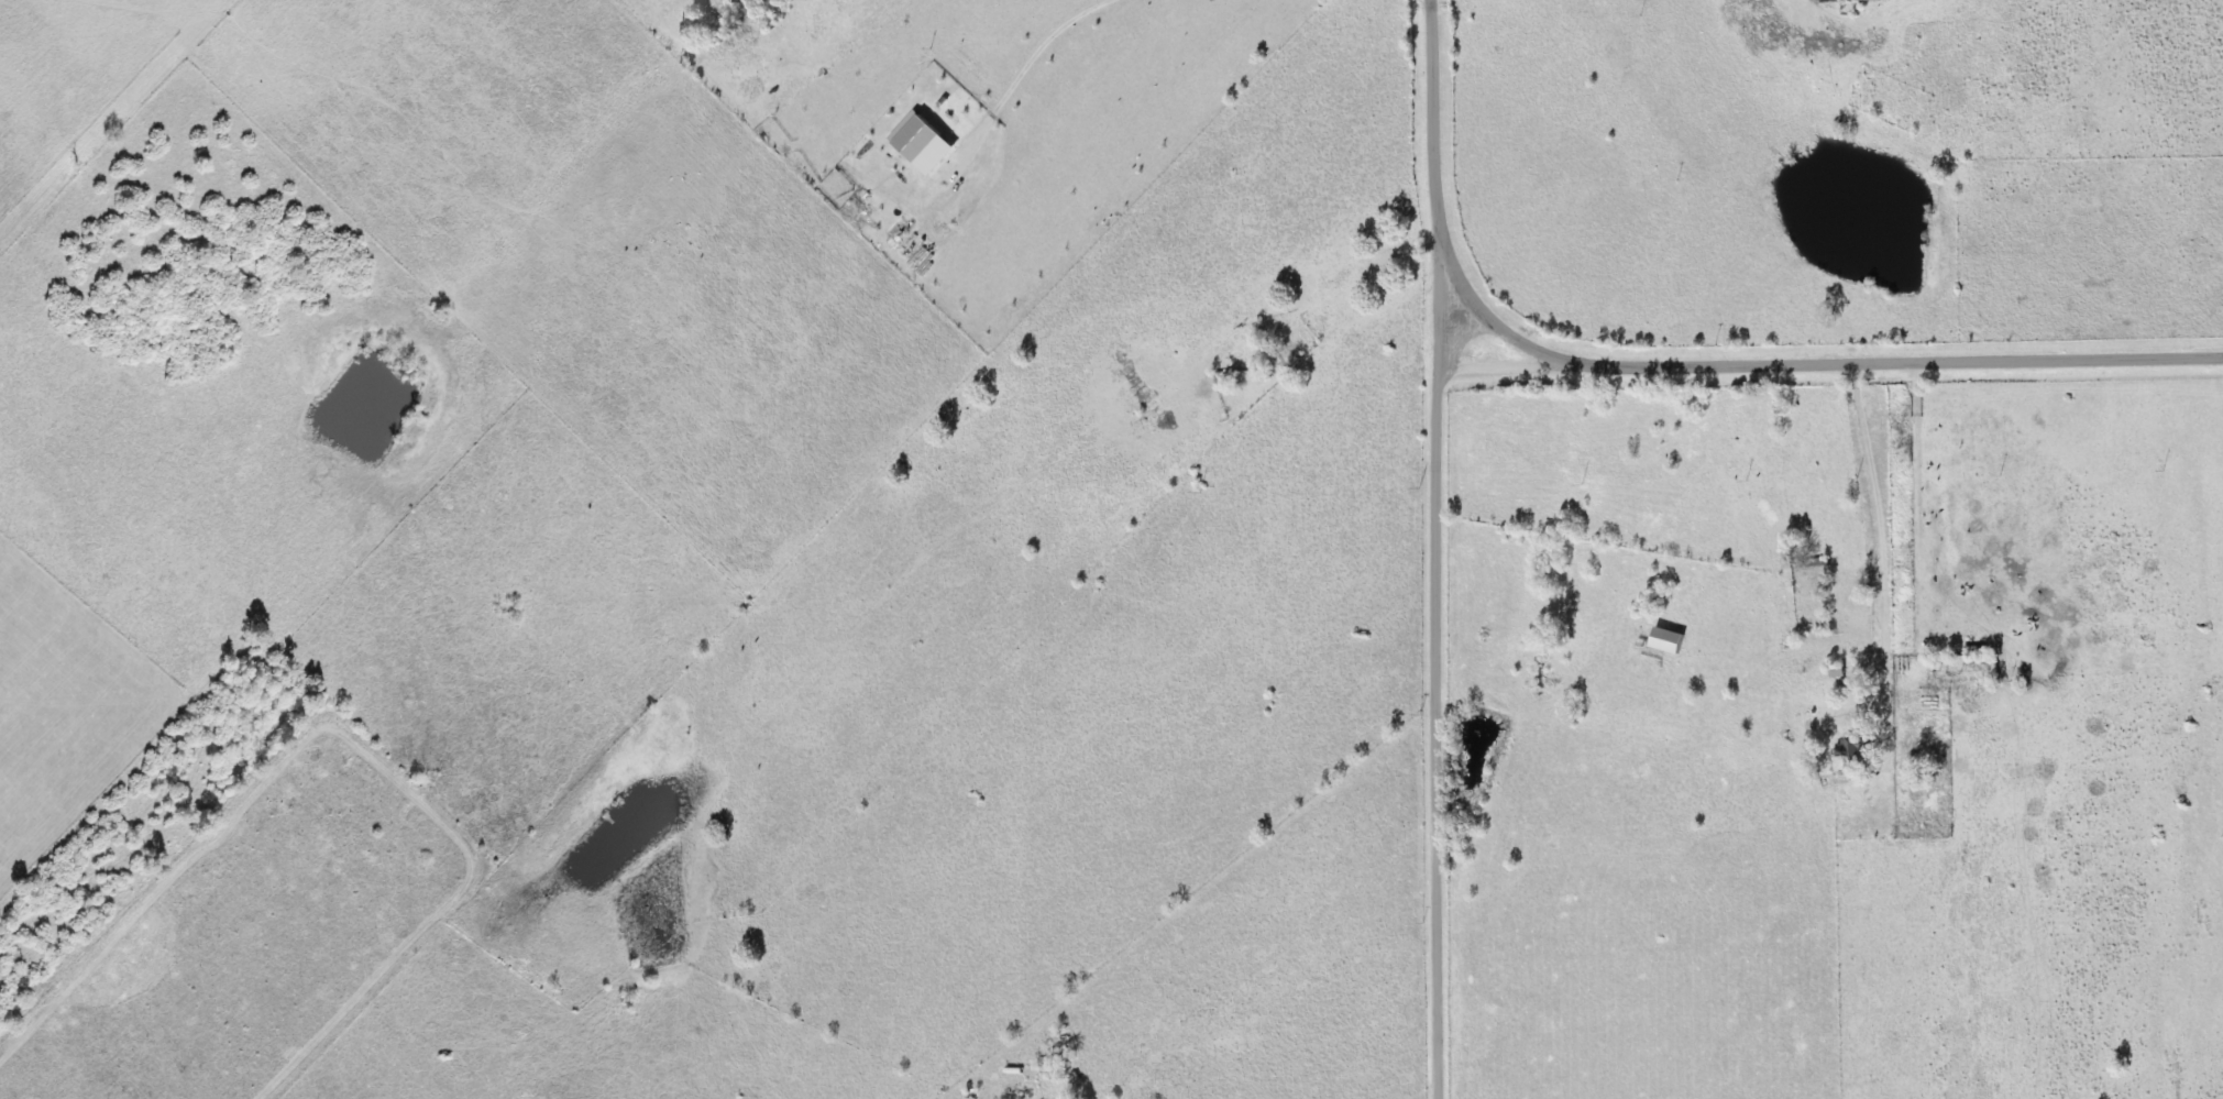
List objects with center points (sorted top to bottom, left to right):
building: (1866, 0)
road: (1829, 358)
road: (1434, 549)
road: (1885, 553)
building: (1850, 748)

